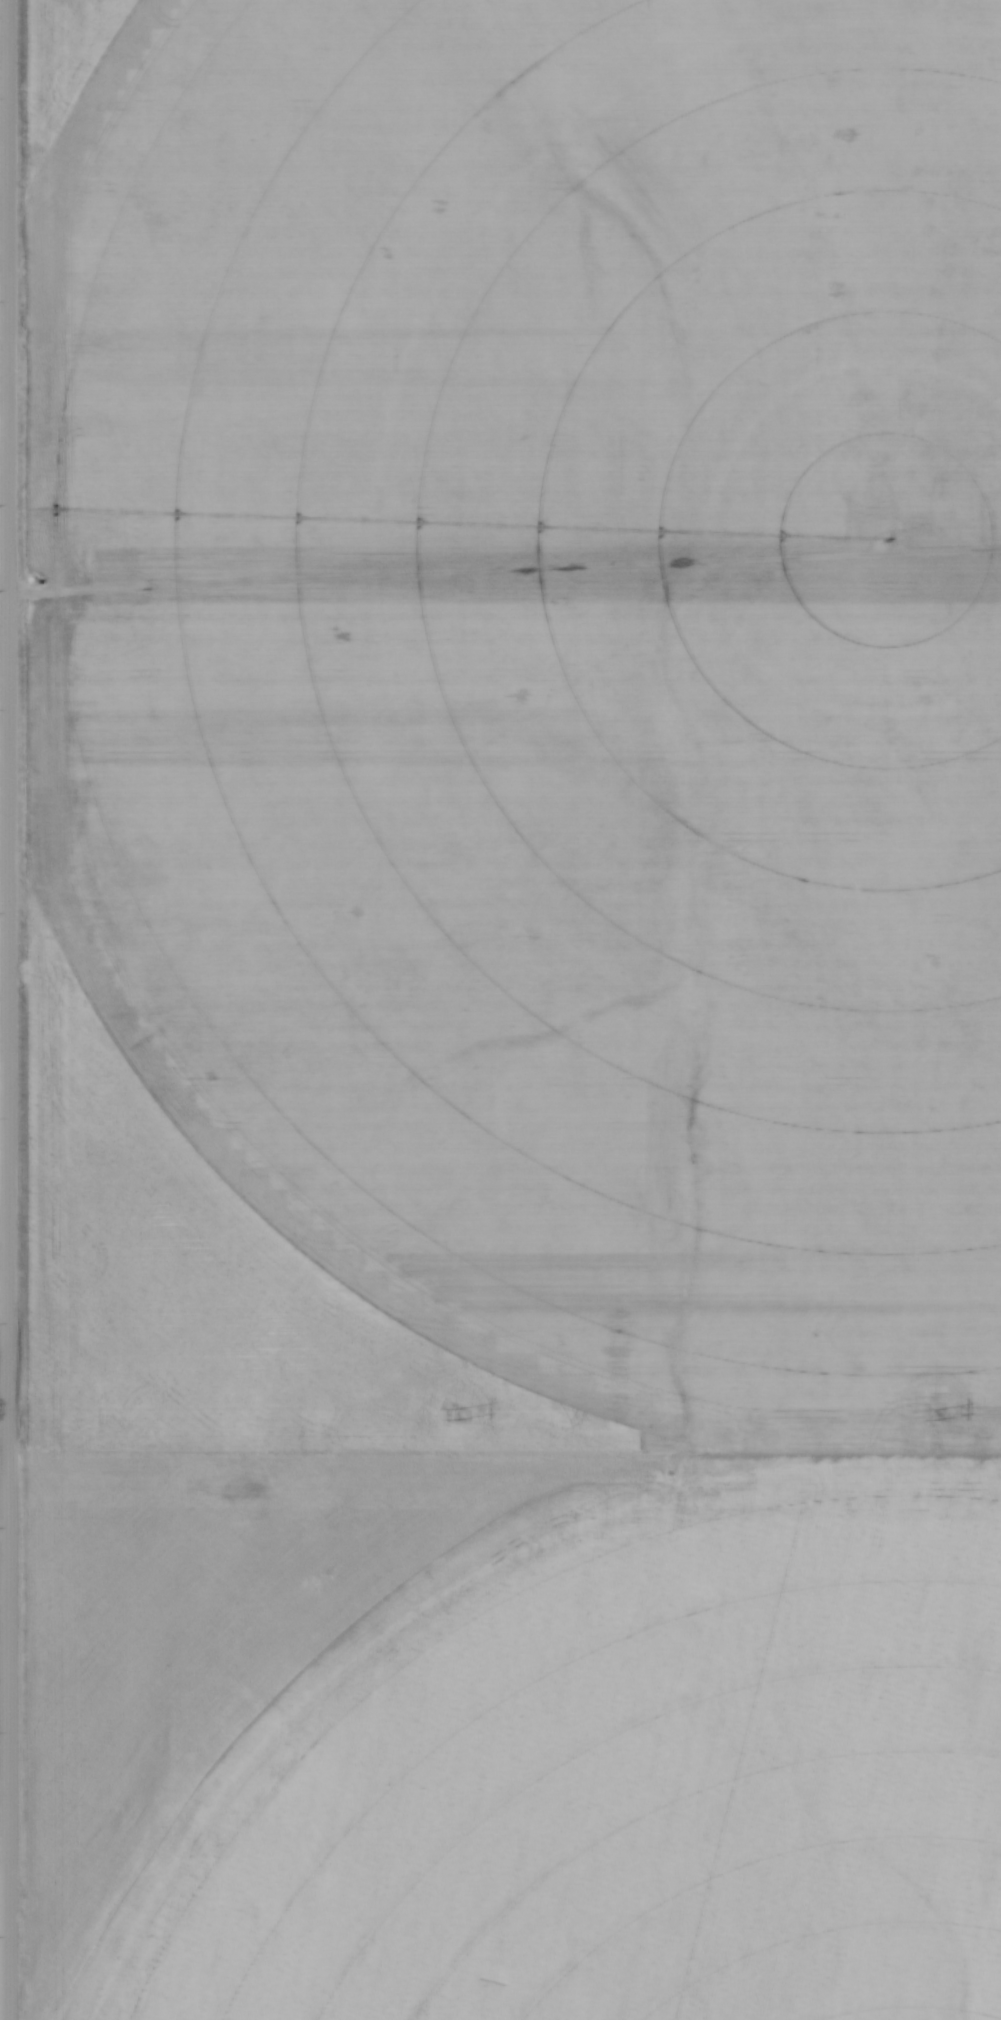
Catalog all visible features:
road: (9, 1010)
power tower: (941, 1412)
power tower: (461, 1413)

